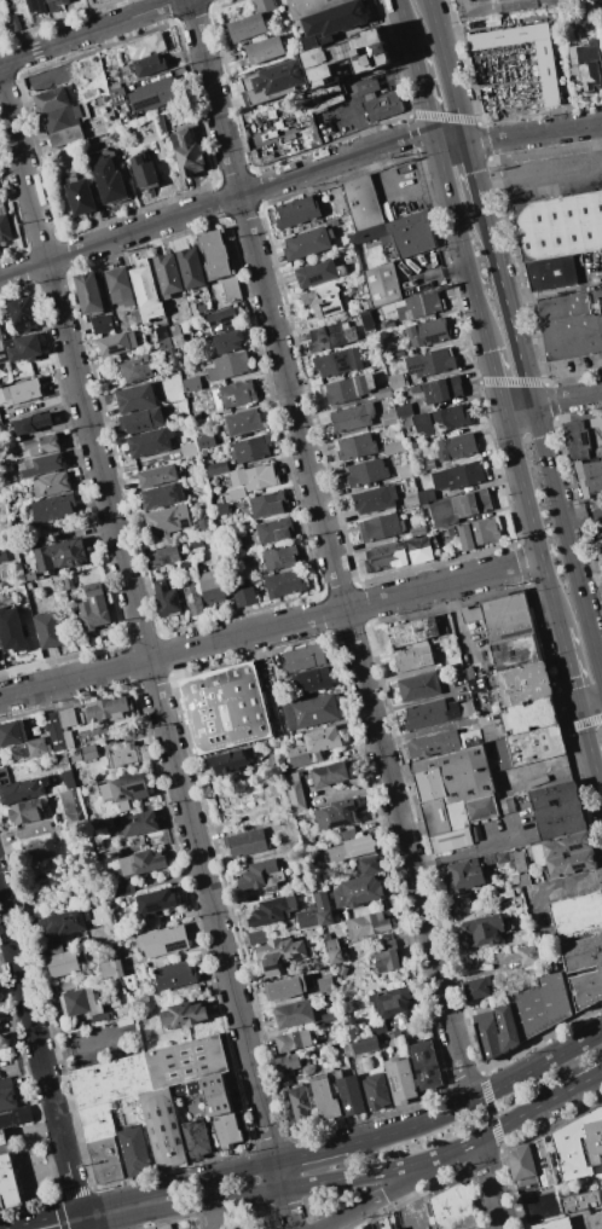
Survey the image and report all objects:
park: (471, 0)
building: (57, 1)
park: (572, 2)
building: (36, 5)
building: (308, 6)
park: (503, 7)
building: (601, 17)
building: (15, 22)
building: (250, 22)
building: (330, 23)
road: (405, 25)
road: (94, 31)
building: (146, 46)
building: (265, 50)
building: (348, 51)
building: (586, 63)
building: (149, 65)
road: (446, 70)
building: (548, 79)
building: (272, 81)
building: (492, 89)
building: (154, 94)
road: (422, 94)
building: (117, 97)
building: (51, 99)
building: (382, 105)
building: (302, 115)
building: (65, 117)
building: (161, 124)
road: (355, 127)
road: (533, 133)
building: (65, 135)
building: (311, 137)
road: (448, 139)
building: (186, 152)
building: (143, 172)
road: (473, 173)
road: (557, 173)
parking lot: (551, 176)
building: (108, 180)
building: (80, 197)
road: (216, 205)
building: (296, 211)
building: (370, 213)
building: (4, 226)
building: (557, 237)
building: (412, 238)
building: (387, 239)
road: (461, 242)
building: (306, 244)
building: (213, 254)
building: (190, 267)
building: (317, 272)
building: (167, 274)
building: (382, 284)
building: (118, 285)
building: (231, 289)
building: (144, 290)
building: (87, 292)
road: (540, 292)
building: (323, 300)
building: (418, 306)
building: (23, 313)
building: (221, 319)
building: (366, 320)
building: (102, 324)
building: (571, 325)
building: (174, 330)
building: (161, 332)
building: (427, 332)
building: (0, 337)
building: (330, 337)
building: (178, 340)
building: (228, 341)
building: (116, 343)
building: (23, 348)
building: (396, 350)
building: (2, 354)
building: (337, 361)
building: (433, 361)
building: (228, 365)
building: (135, 369)
road: (496, 378)
building: (396, 381)
building: (175, 383)
building: (191, 384)
building: (347, 388)
building: (442, 389)
building: (22, 390)
building: (236, 393)
building: (383, 393)
building: (135, 398)
road: (567, 400)
road: (517, 408)
building: (404, 410)
building: (352, 417)
building: (389, 418)
building: (0, 421)
building: (141, 421)
building: (406, 421)
building: (441, 421)
building: (243, 422)
building: (31, 423)
building: (204, 440)
road: (540, 441)
building: (147, 442)
building: (40, 445)
building: (354, 446)
building: (456, 446)
building: (393, 447)
building: (251, 448)
building: (189, 451)
building: (585, 454)
building: (41, 464)
building: (215, 468)
building: (365, 473)
building: (157, 475)
building: (404, 475)
building: (459, 475)
building: (4, 477)
building: (254, 477)
building: (51, 483)
building: (237, 493)
building: (162, 495)
building: (426, 495)
building: (376, 498)
building: (411, 500)
building: (267, 504)
building: (53, 508)
building: (458, 508)
building: (220, 509)
road: (581, 516)
road: (531, 520)
building: (167, 521)
building: (202, 526)
building: (380, 526)
building: (417, 529)
building: (273, 531)
building: (485, 531)
building: (465, 537)
building: (419, 550)
road: (324, 552)
building: (60, 555)
building: (387, 555)
building: (2, 556)
building: (162, 556)
building: (600, 556)
building: (279, 557)
building: (184, 567)
building: (30, 576)
building: (284, 584)
building: (212, 586)
building: (244, 596)
building: (166, 597)
building: (192, 598)
building: (93, 605)
building: (502, 618)
road: (271, 628)
building: (47, 630)
building: (412, 632)
building: (11, 634)
road: (146, 648)
building: (515, 653)
road: (598, 654)
building: (303, 657)
building: (412, 659)
building: (452, 660)
road: (569, 667)
building: (309, 680)
building: (522, 683)
building: (476, 685)
building: (418, 686)
road: (590, 701)
building: (109, 708)
building: (225, 708)
building: (467, 708)
building: (312, 712)
building: (428, 713)
building: (529, 714)
building: (66, 717)
building: (54, 731)
building: (10, 732)
building: (68, 738)
building: (470, 738)
building: (433, 743)
building: (534, 744)
building: (313, 746)
building: (37, 747)
road: (590, 748)
building: (88, 750)
building: (74, 755)
building: (123, 755)
building: (227, 761)
building: (329, 775)
building: (66, 781)
building: (24, 789)
building: (453, 789)
building: (123, 790)
building: (293, 790)
building: (552, 794)
building: (505, 806)
building: (71, 808)
building: (27, 811)
building: (340, 813)
building: (560, 819)
building: (114, 822)
building: (138, 823)
building: (34, 831)
building: (451, 841)
building: (245, 842)
building: (39, 846)
building: (352, 847)
road: (474, 847)
building: (568, 853)
building: (491, 859)
building: (521, 860)
building: (140, 863)
building: (367, 864)
building: (463, 874)
building: (262, 875)
building: (523, 880)
building: (121, 889)
building: (357, 891)
building: (320, 900)
building: (156, 902)
building: (271, 911)
building: (98, 915)
building: (578, 915)
building: (307, 916)
building: (325, 917)
building: (63, 922)
building: (367, 924)
building: (482, 929)
building: (256, 937)
building: (163, 940)
building: (109, 949)
building: (53, 950)
road: (7, 951)
building: (278, 955)
building: (388, 955)
building: (527, 955)
building: (62, 963)
building: (111, 969)
building: (597, 972)
building: (174, 975)
building: (68, 986)
building: (285, 987)
building: (476, 987)
building: (392, 1001)
building: (79, 1002)
building: (539, 1005)
building: (184, 1014)
building: (294, 1014)
building: (99, 1018)
building: (329, 1018)
building: (496, 1030)
building: (293, 1040)
road: (85, 1043)
building: (365, 1044)
building: (347, 1049)
road: (41, 1060)
building: (286, 1062)
building: (424, 1065)
road: (536, 1067)
building: (400, 1080)
road: (584, 1080)
building: (6, 1082)
building: (192, 1086)
building: (179, 1090)
building: (376, 1090)
building: (351, 1095)
building: (7, 1098)
building: (147, 1098)
building: (324, 1100)
building: (300, 1105)
road: (491, 1109)
road: (523, 1113)
road: (35, 1126)
building: (227, 1131)
building: (196, 1138)
road: (459, 1146)
building: (580, 1148)
building: (133, 1150)
building: (521, 1163)
road: (46, 1170)
road: (238, 1171)
road: (361, 1175)
building: (7, 1177)
building: (545, 1177)
road: (491, 1182)
road: (384, 1196)
building: (580, 1201)
road: (409, 1206)
road: (175, 1207)
building: (452, 1208)
road: (214, 1214)
building: (595, 1221)
building: (554, 1224)
building: (163, 1227)
building: (147, 1228)
building: (152, 1228)
building: (394, 1228)
building: (398, 1228)

